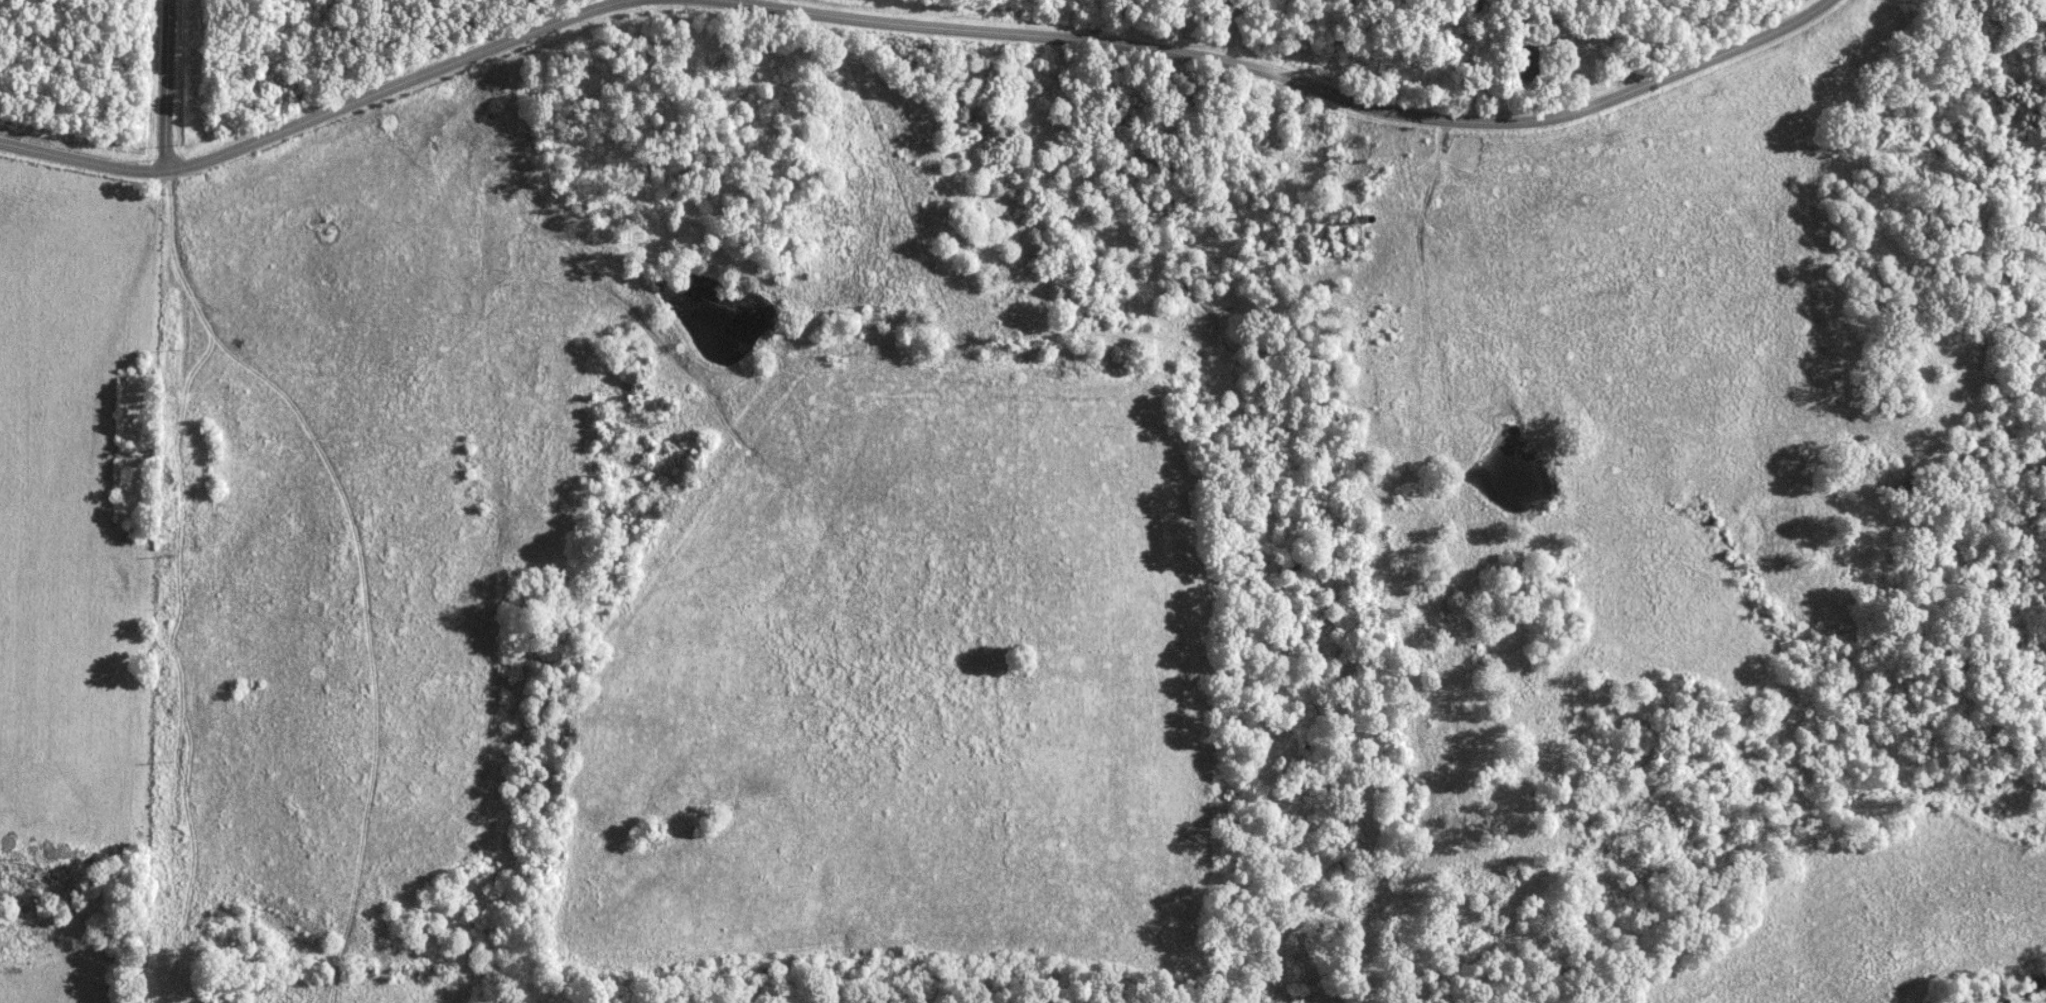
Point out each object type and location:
building: (1528, 62)
road: (1286, 76)
road: (168, 85)
park: (1161, 98)
road: (320, 116)

